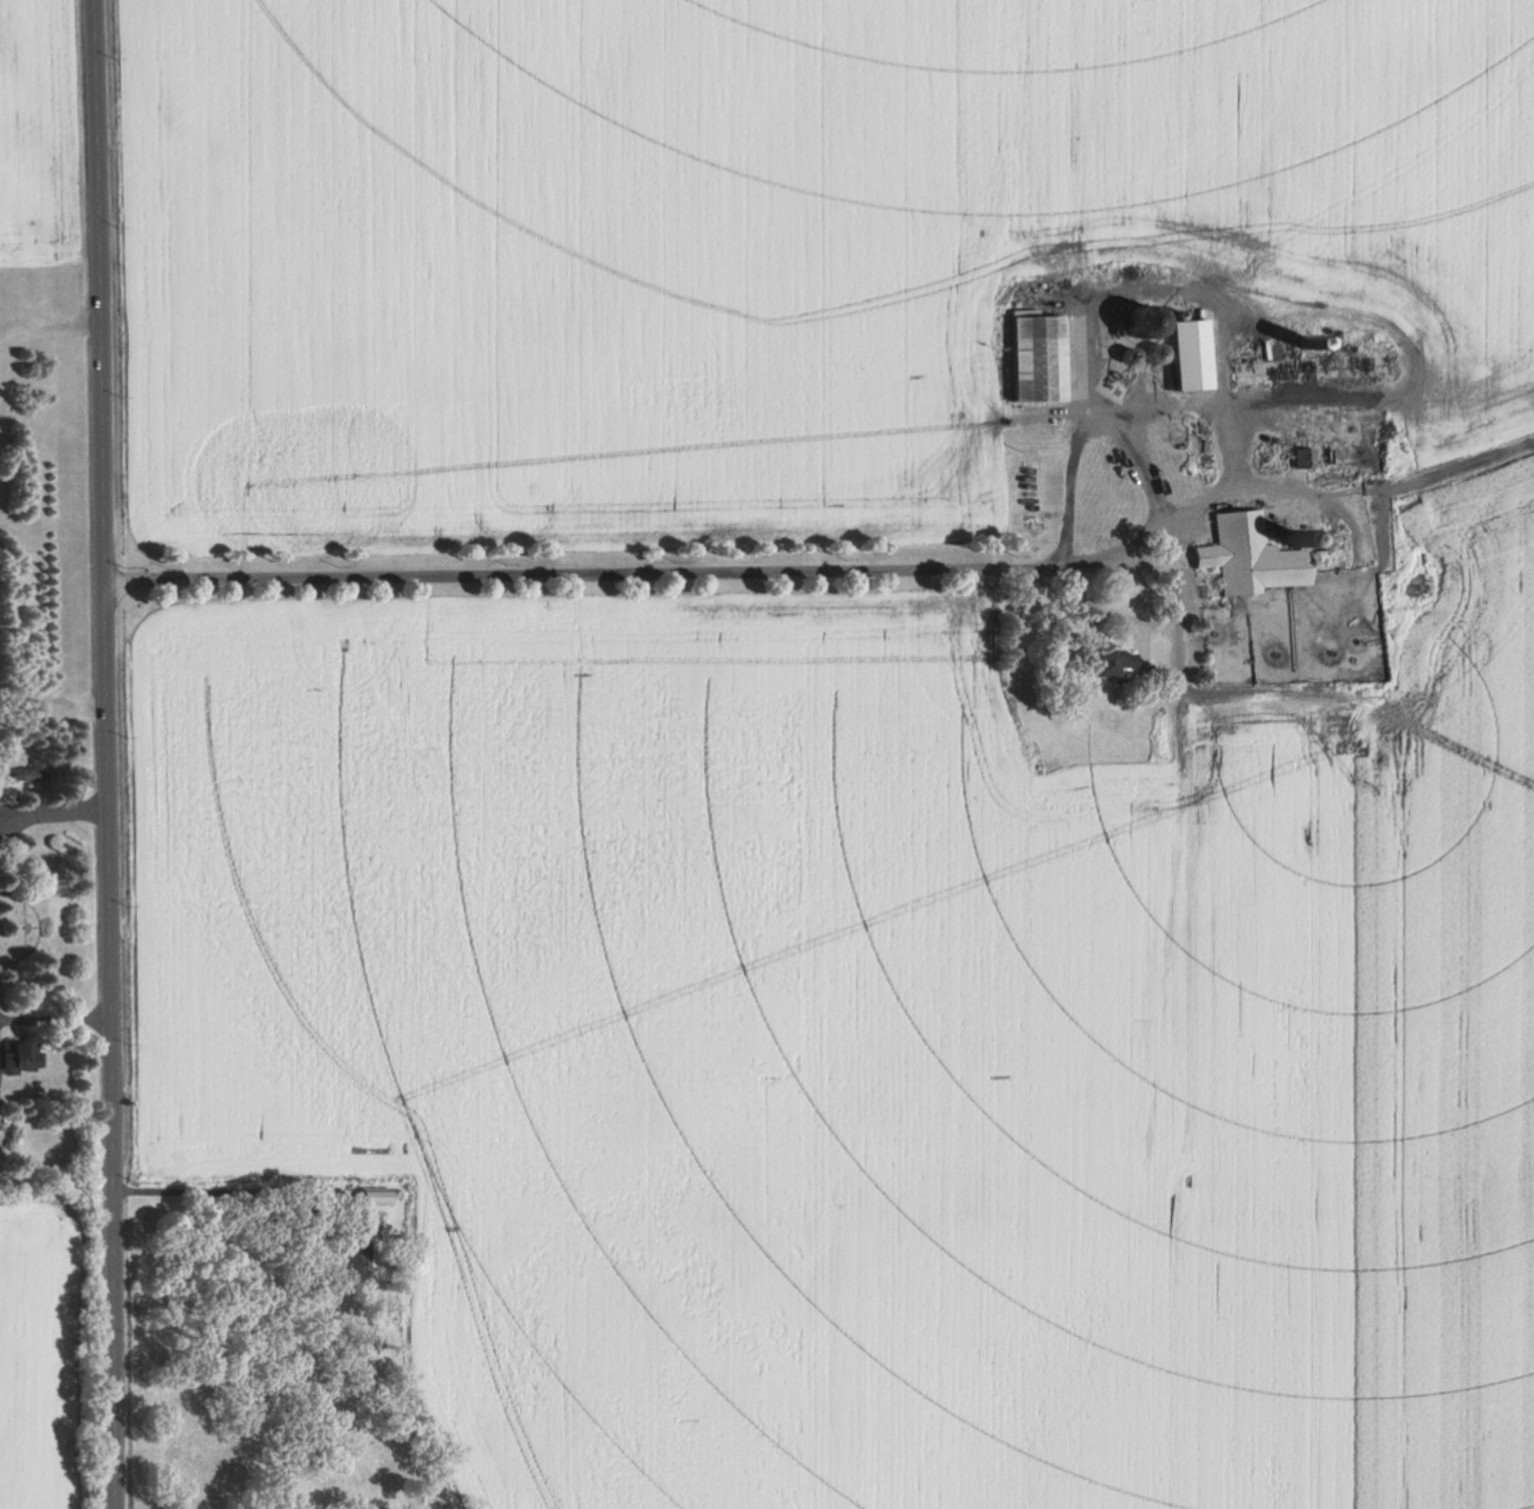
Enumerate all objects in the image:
road: (1143, 291)
building: (1174, 310)
building: (1140, 320)
building: (1330, 333)
building: (1299, 346)
building: (1152, 353)
building: (1125, 355)
building: (1186, 355)
building: (1034, 357)
building: (1397, 361)
building: (1308, 364)
road: (1296, 401)
road: (1227, 404)
building: (1186, 424)
building: (1267, 434)
building: (1267, 440)
building: (1201, 445)
building: (1301, 456)
road: (1068, 484)
road: (1296, 495)
building: (1287, 536)
building: (1260, 555)
road: (735, 573)
building: (1106, 664)
road: (97, 754)
building: (27, 770)
road: (49, 811)
road: (50, 1019)
building: (17, 1055)
road: (218, 1192)
building: (370, 1196)
building: (398, 1240)
building: (349, 1244)

